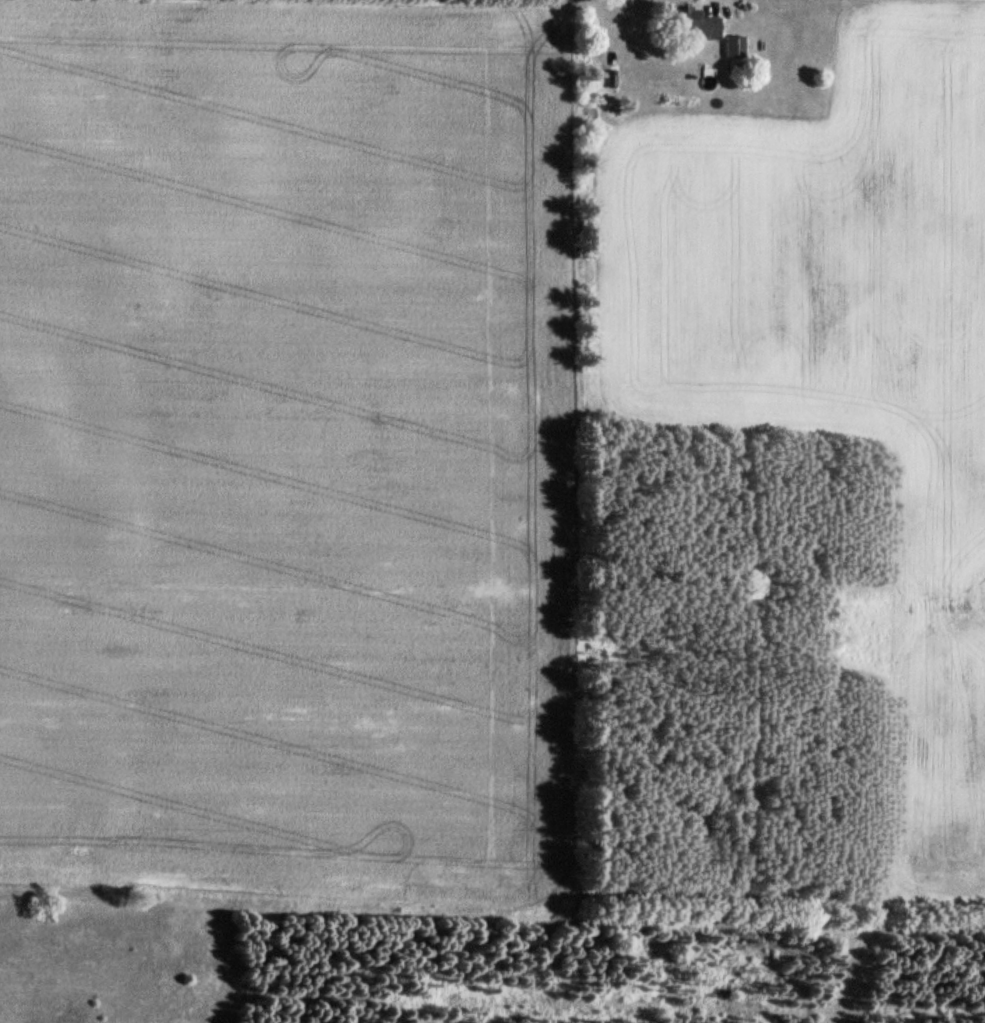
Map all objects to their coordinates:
building: (696, 24)
building: (736, 46)

